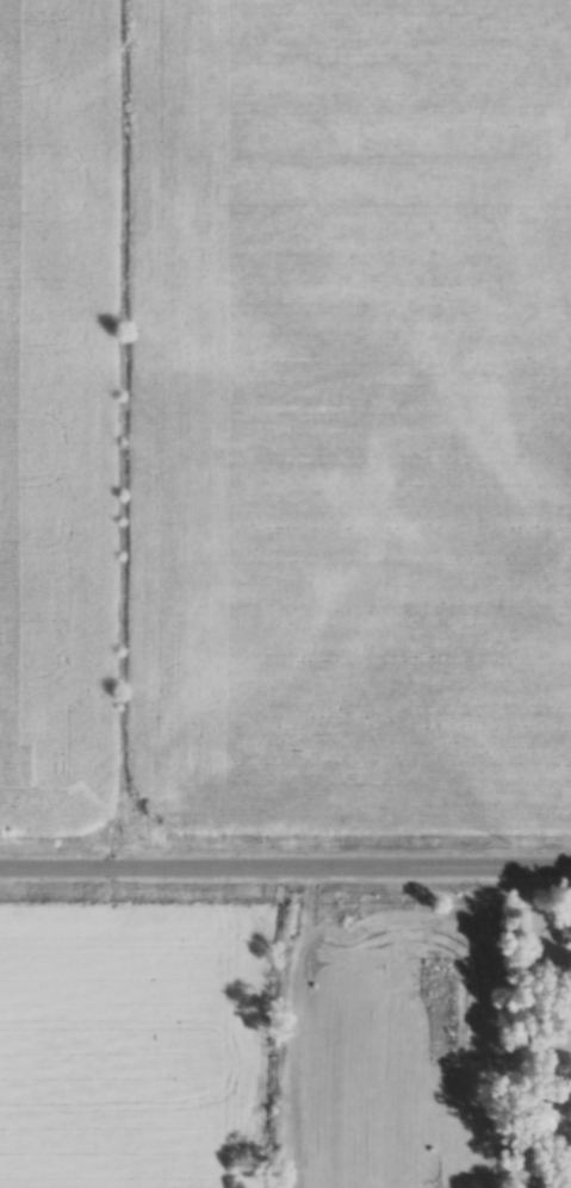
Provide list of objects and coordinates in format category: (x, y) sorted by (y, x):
crop: (285, 415)
road: (257, 864)
road: (542, 864)
building: (564, 934)
crop: (247, 1043)
road: (550, 1187)

